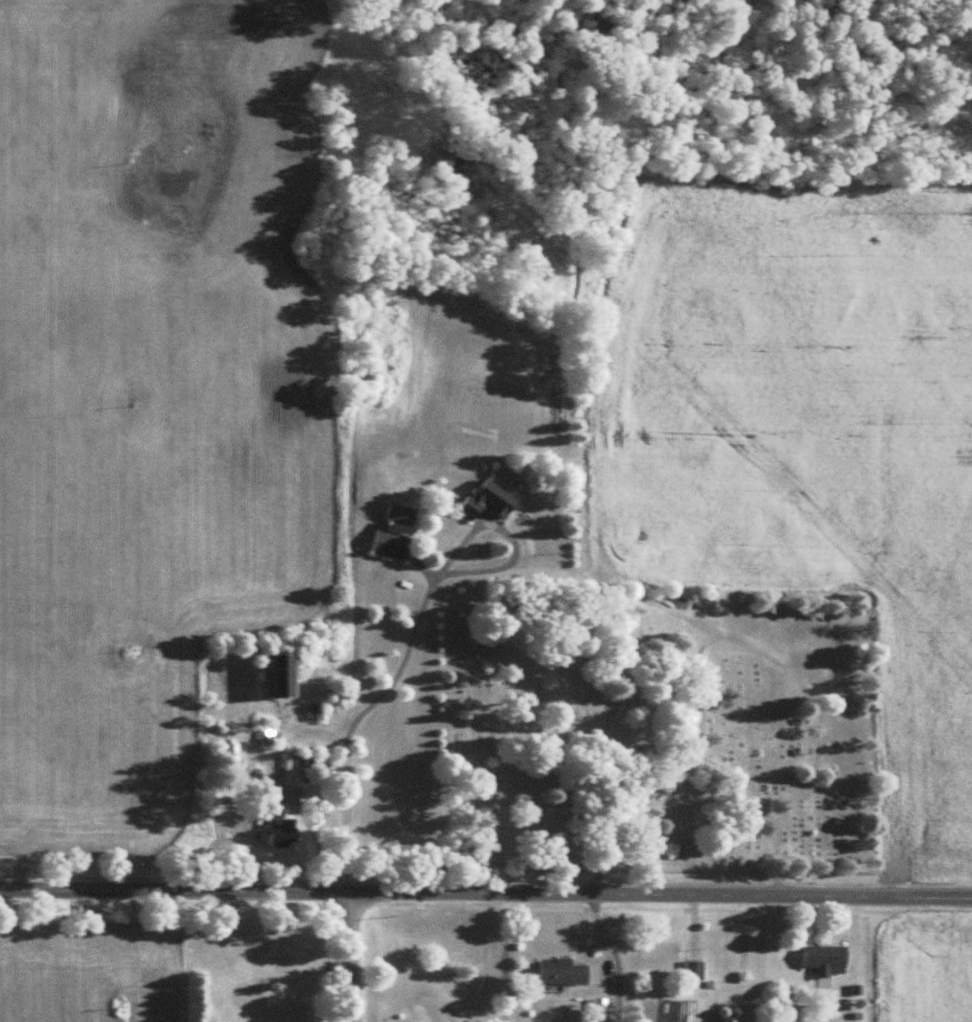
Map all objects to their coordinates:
building: (491, 499)
building: (402, 514)
building: (391, 544)
road: (412, 638)
building: (284, 675)
park: (658, 734)
building: (230, 751)
building: (285, 829)
road: (485, 894)
road: (352, 958)
building: (827, 959)
building: (695, 970)
building: (564, 971)

